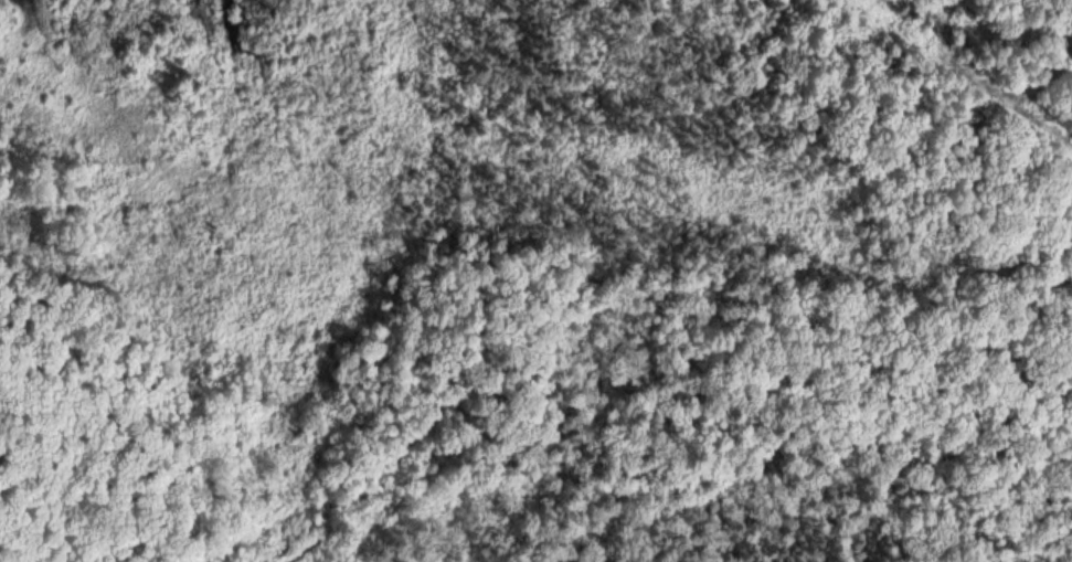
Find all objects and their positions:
road: (960, 75)

